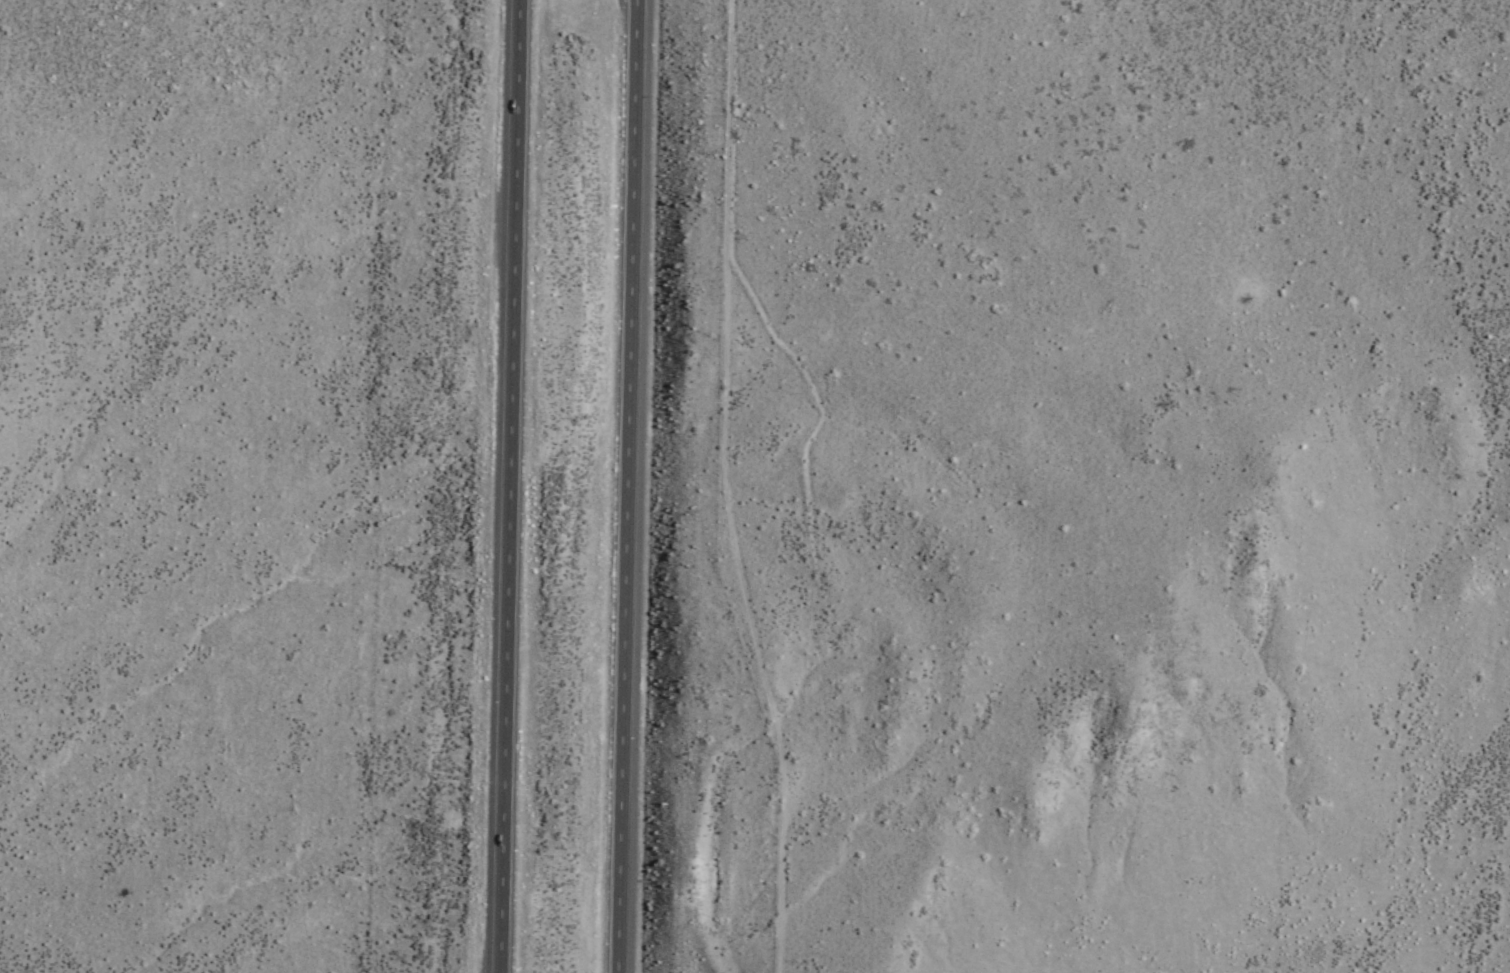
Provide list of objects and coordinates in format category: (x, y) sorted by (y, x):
road: (505, 486)
road: (627, 486)
road: (723, 489)
crop: (1507, 971)

